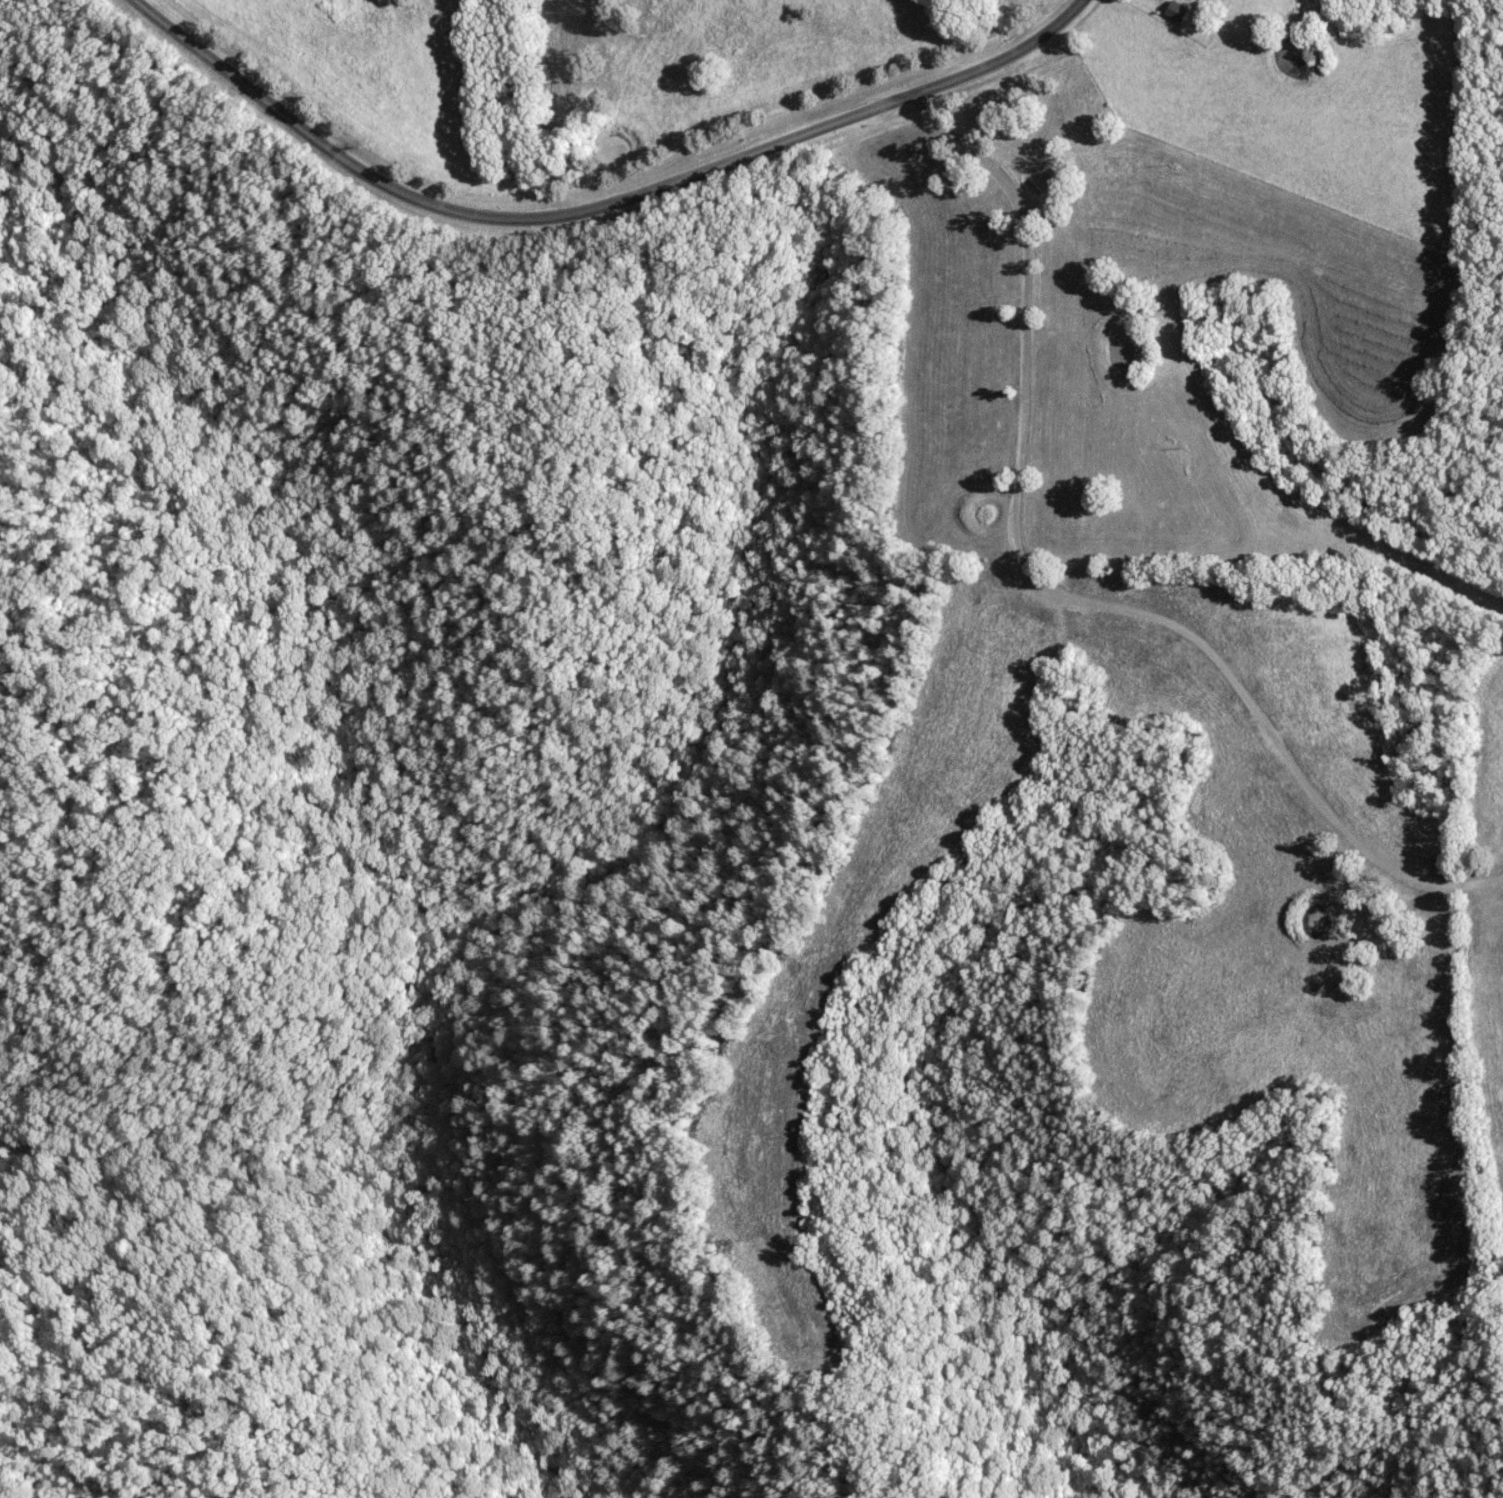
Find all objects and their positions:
building: (1171, 9)
road: (601, 204)

